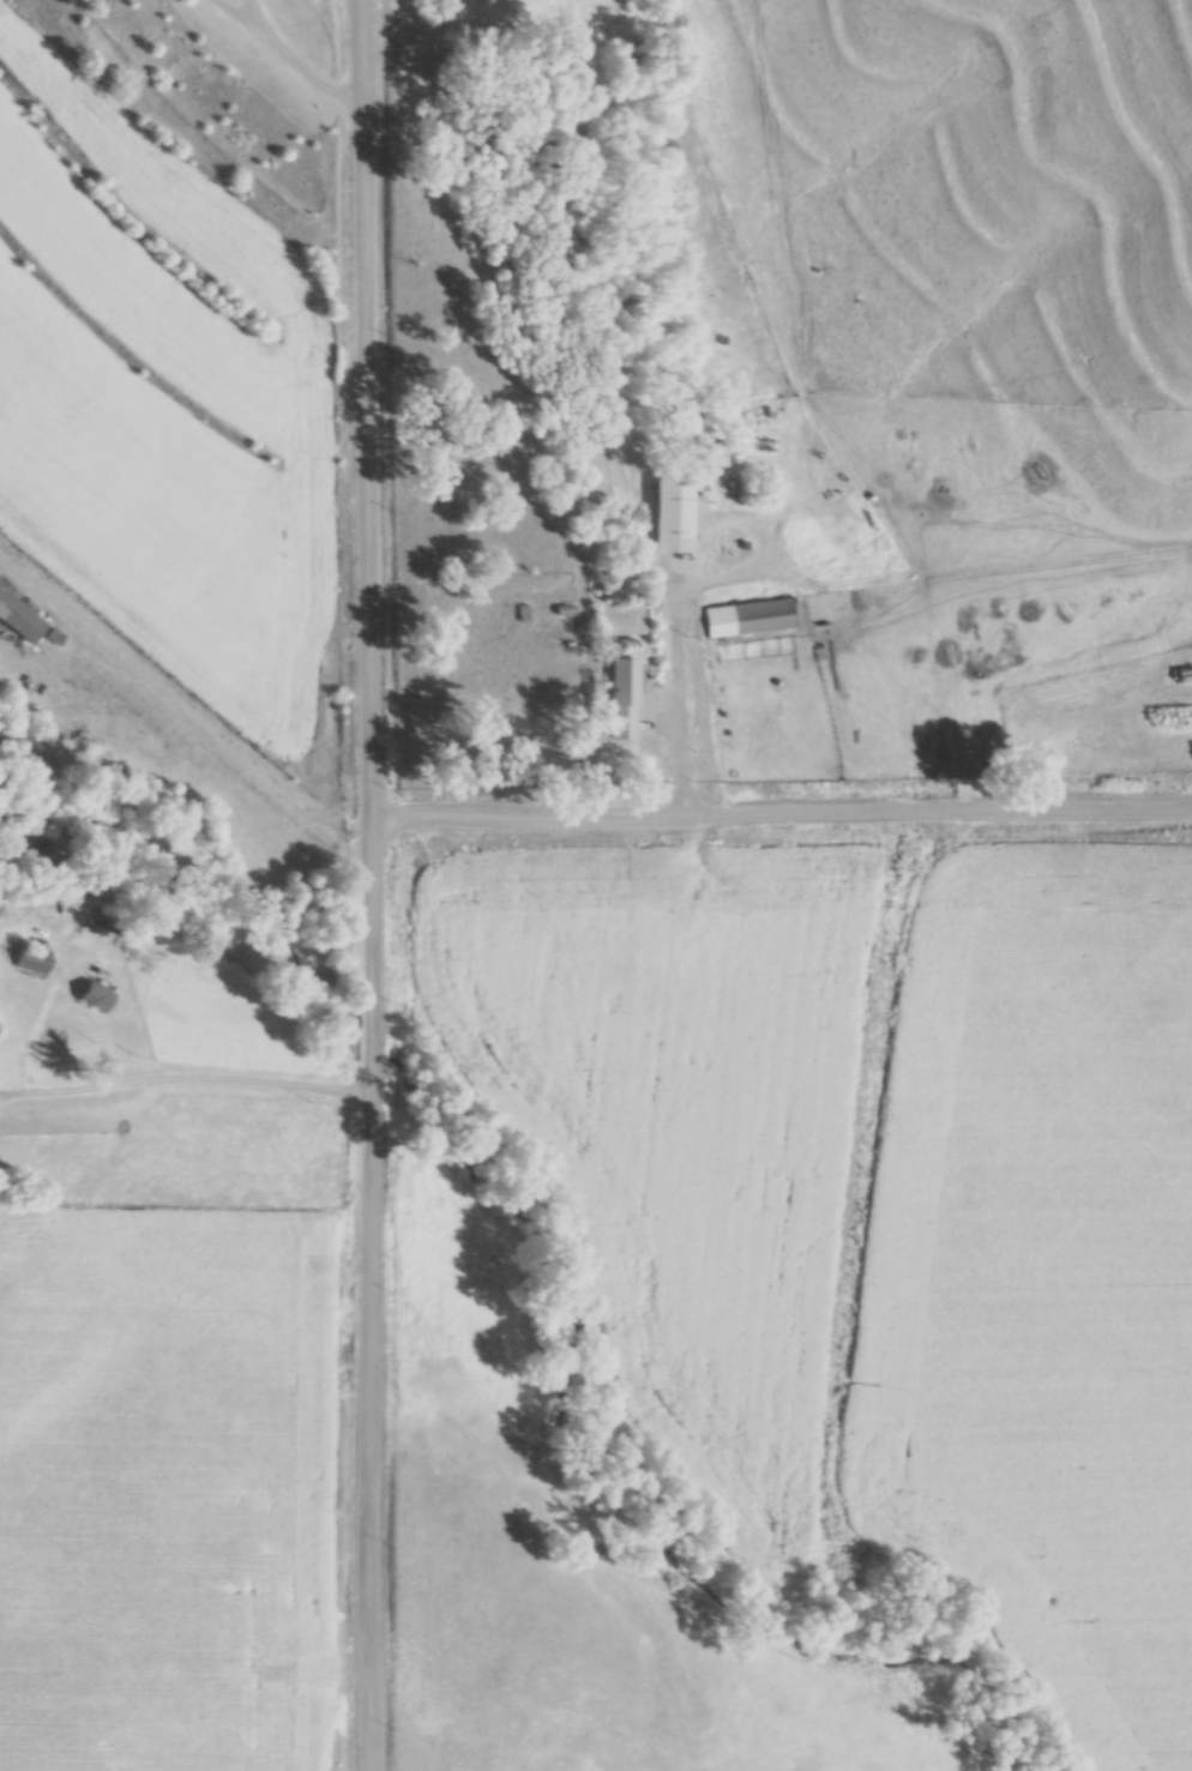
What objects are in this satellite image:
road: (293, 50)
road: (366, 411)
road: (1078, 538)
road: (676, 682)
road: (781, 823)
road: (185, 1074)
road: (371, 1297)

